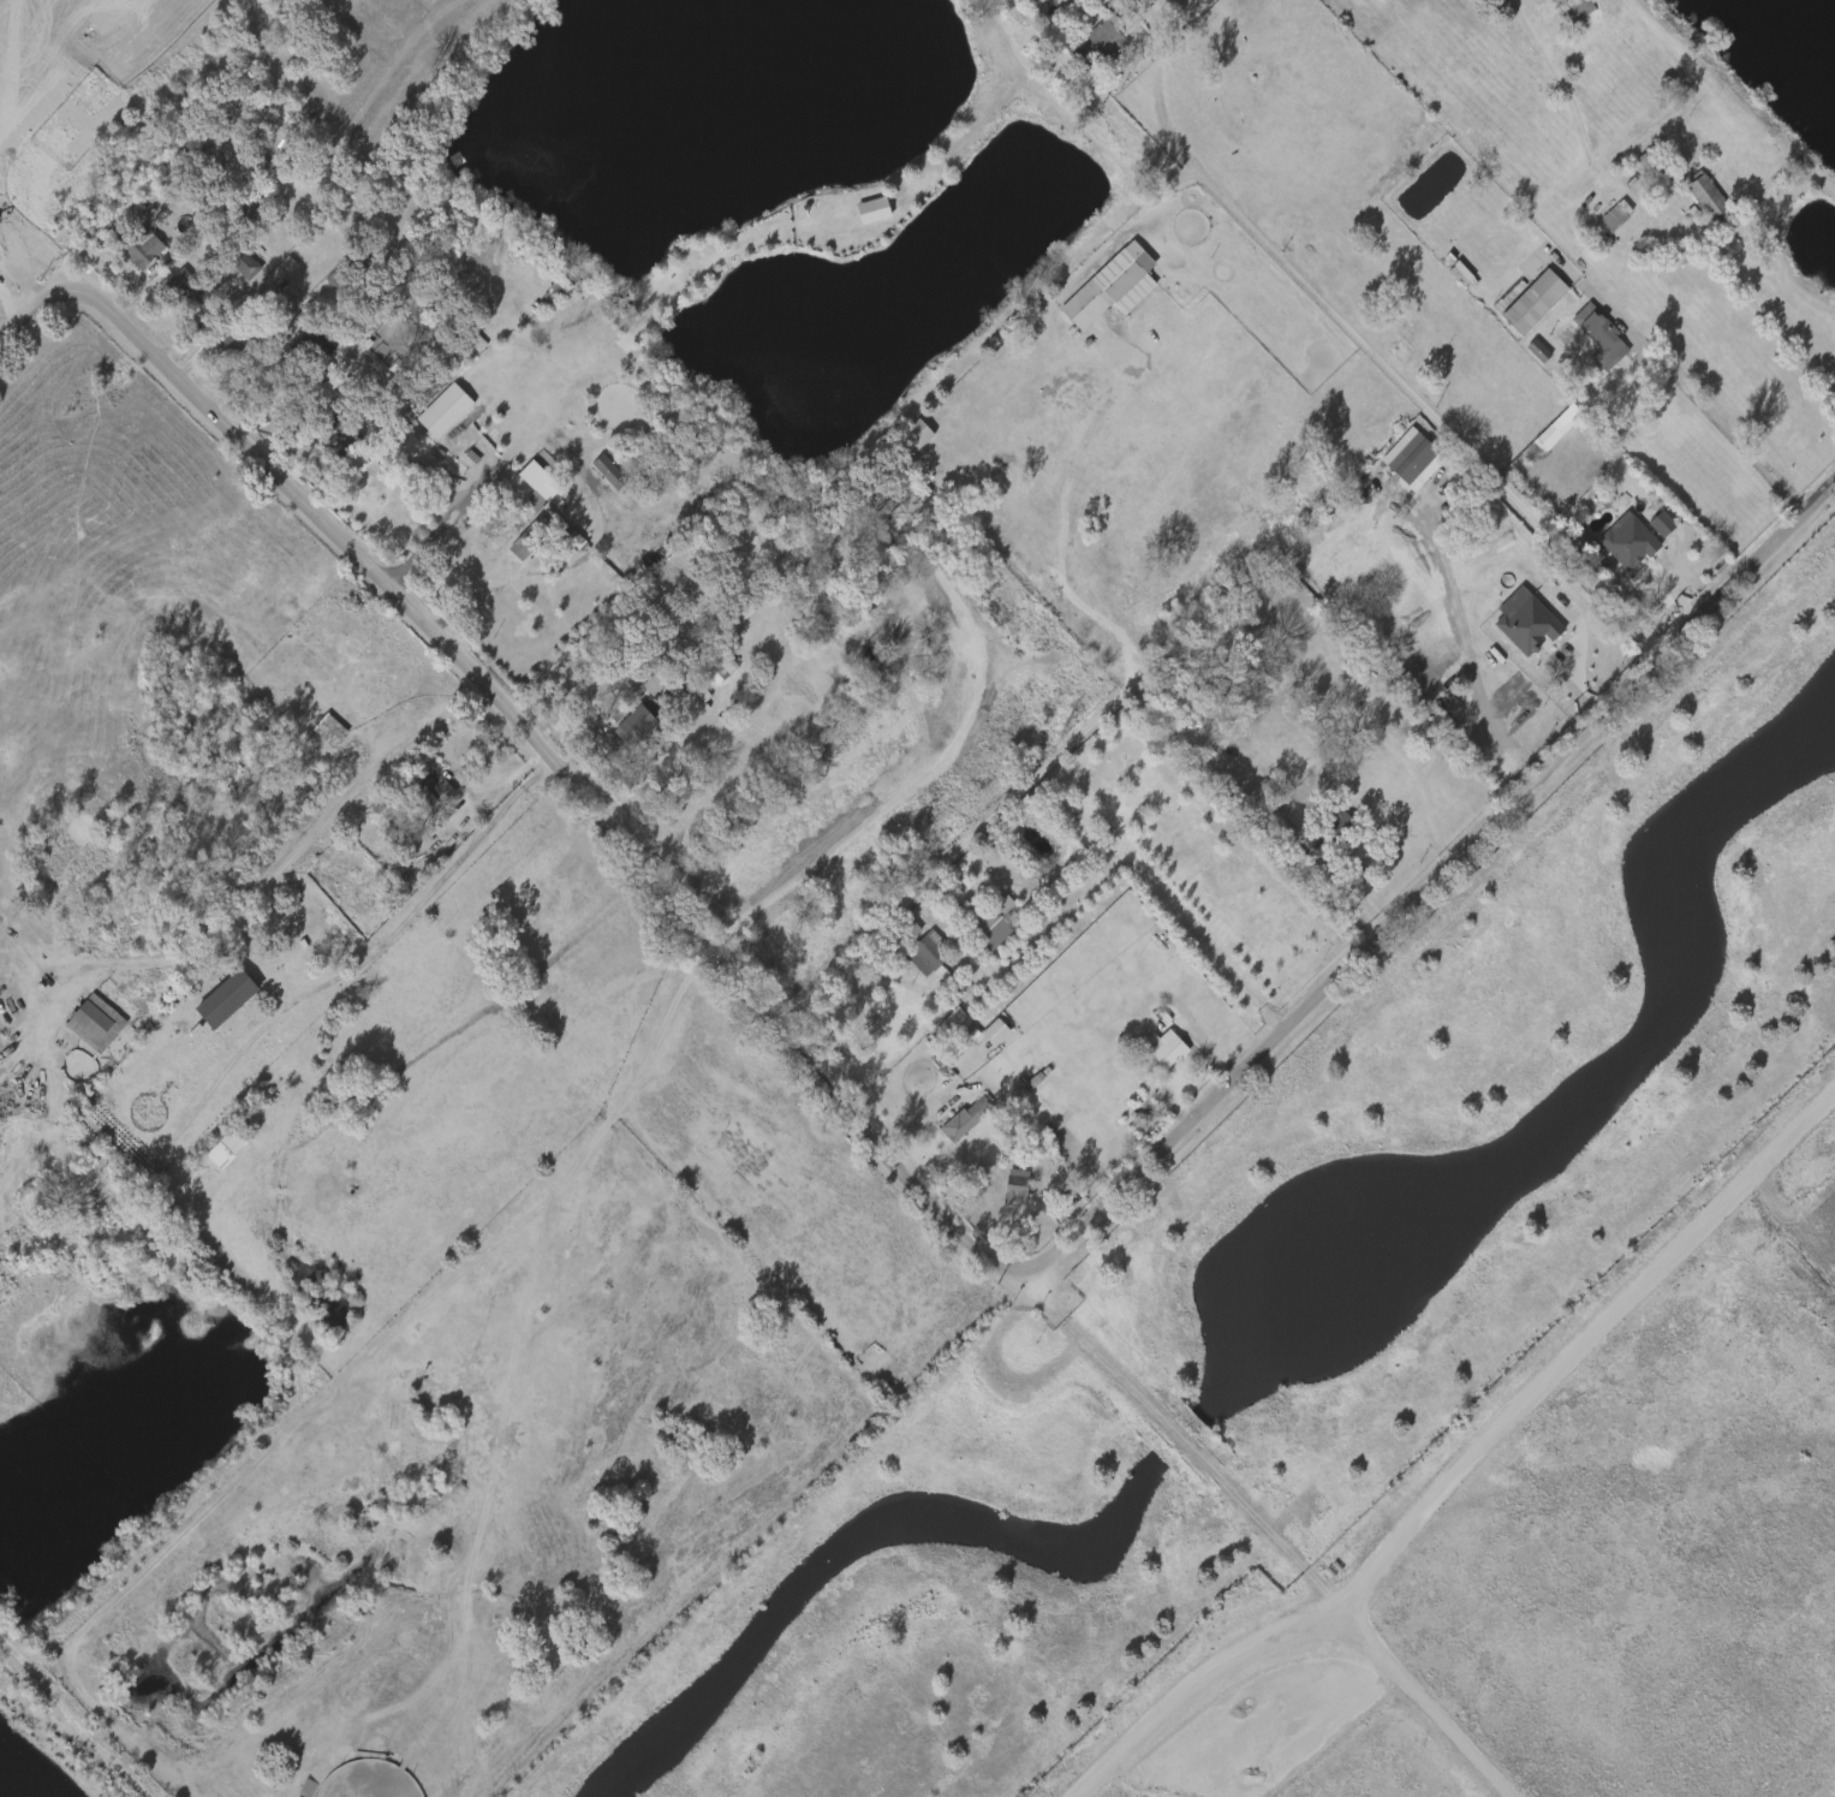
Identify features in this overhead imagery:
building: (1574, 11)
building: (1100, 38)
building: (1637, 162)
building: (1654, 163)
building: (1706, 196)
building: (1692, 198)
building: (245, 206)
building: (1615, 215)
building: (1602, 218)
road: (1110, 233)
building: (143, 246)
building: (131, 256)
building: (243, 263)
building: (268, 274)
building: (341, 275)
building: (1447, 276)
building: (174, 290)
building: (195, 290)
building: (1100, 290)
building: (1533, 302)
building: (1601, 337)
building: (240, 340)
building: (1586, 340)
building: (221, 345)
building: (315, 346)
road: (1348, 349)
building: (1525, 353)
building: (470, 403)
building: (455, 409)
road: (1710, 434)
building: (902, 438)
building: (345, 439)
building: (334, 446)
building: (471, 459)
building: (1398, 460)
building: (415, 471)
building: (596, 474)
building: (912, 474)
building: (518, 478)
building: (534, 481)
building: (905, 493)
building: (522, 504)
road: (434, 526)
building: (1648, 526)
building: (526, 538)
building: (1631, 540)
building: (734, 617)
building: (716, 662)
building: (656, 680)
building: (641, 719)
building: (621, 728)
building: (329, 730)
road: (524, 731)
building: (317, 732)
road: (928, 774)
building: (428, 791)
building: (1331, 831)
road: (1371, 841)
road: (1425, 873)
road: (1166, 900)
building: (988, 926)
building: (902, 933)
building: (340, 953)
building: (929, 953)
building: (914, 956)
road: (261, 962)
building: (214, 1001)
road: (833, 1002)
building: (95, 1023)
building: (1164, 1048)
building: (917, 1085)
building: (1127, 1089)
building: (965, 1119)
building: (1017, 1188)
building: (1002, 1189)
wastewater plant: (1388, 1385)
road: (1178, 1432)
road: (1460, 1470)
road: (1422, 1701)

